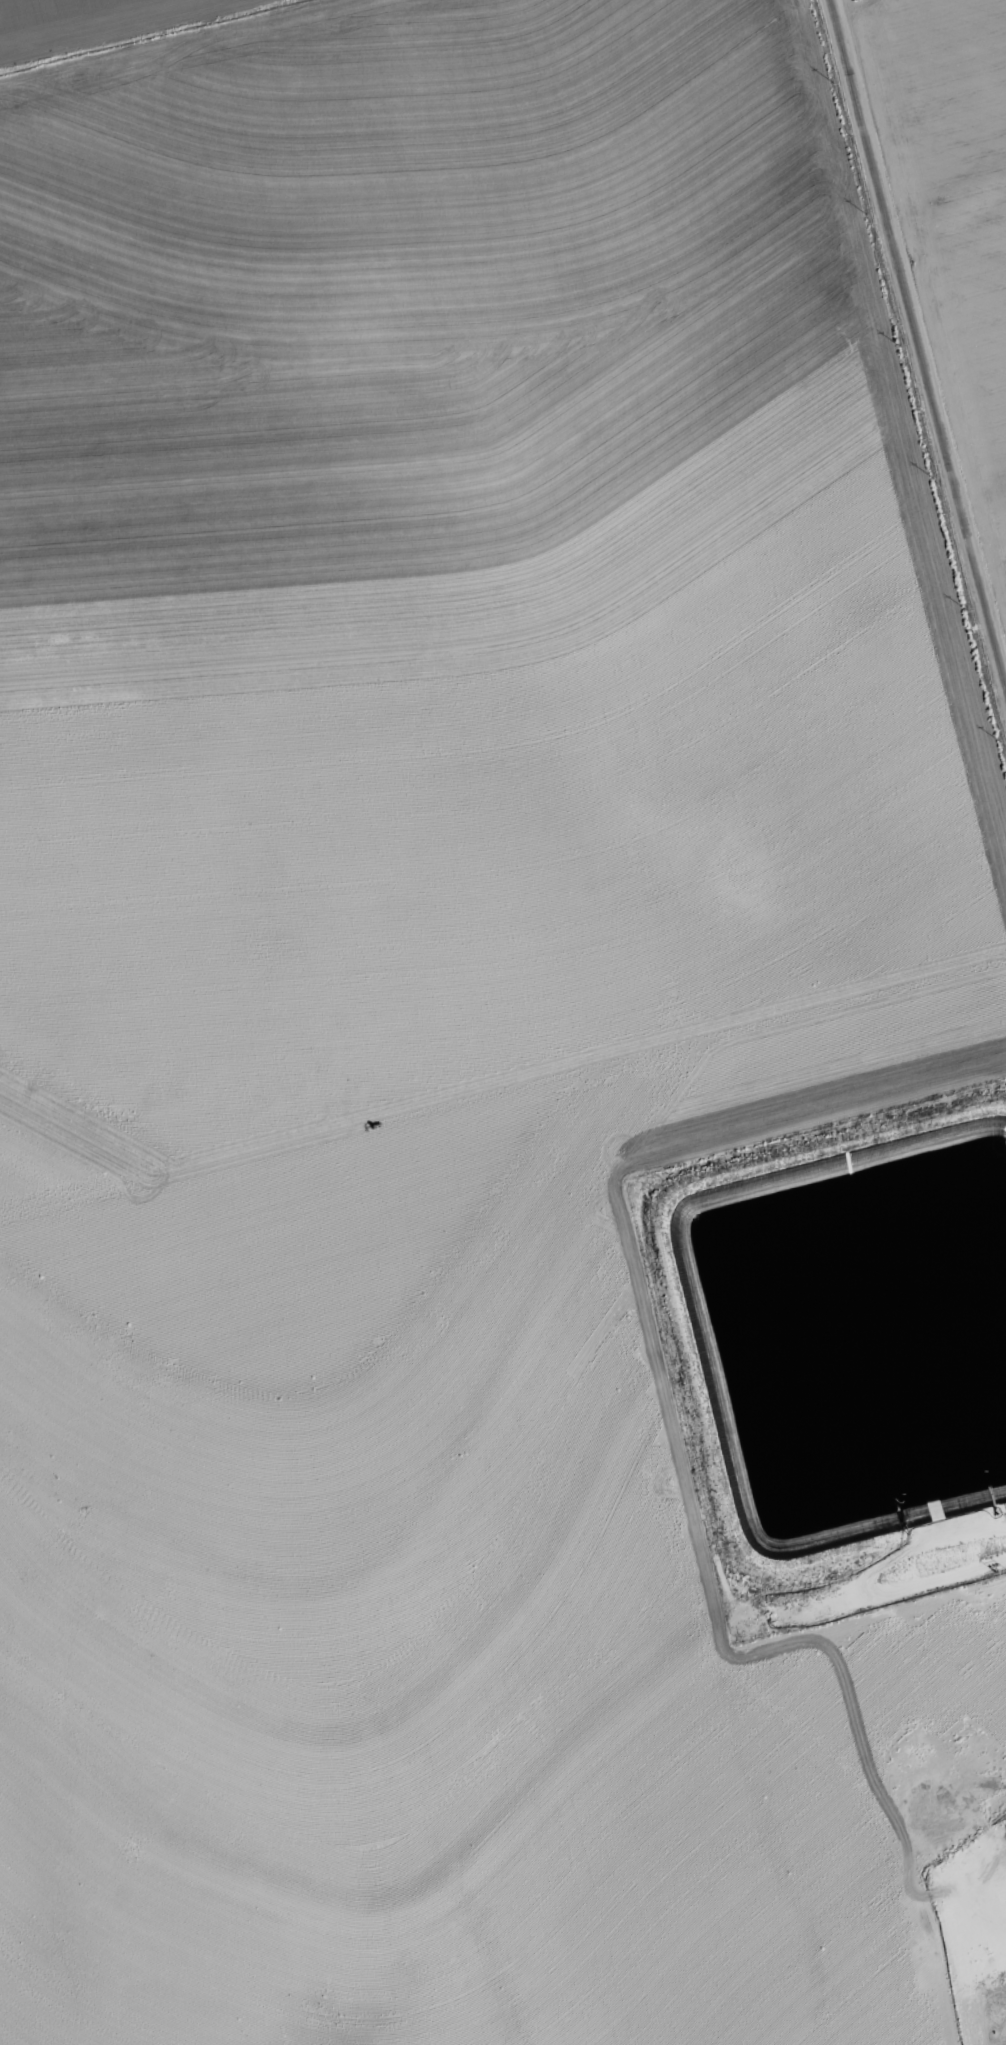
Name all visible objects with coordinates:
road: (915, 352)

